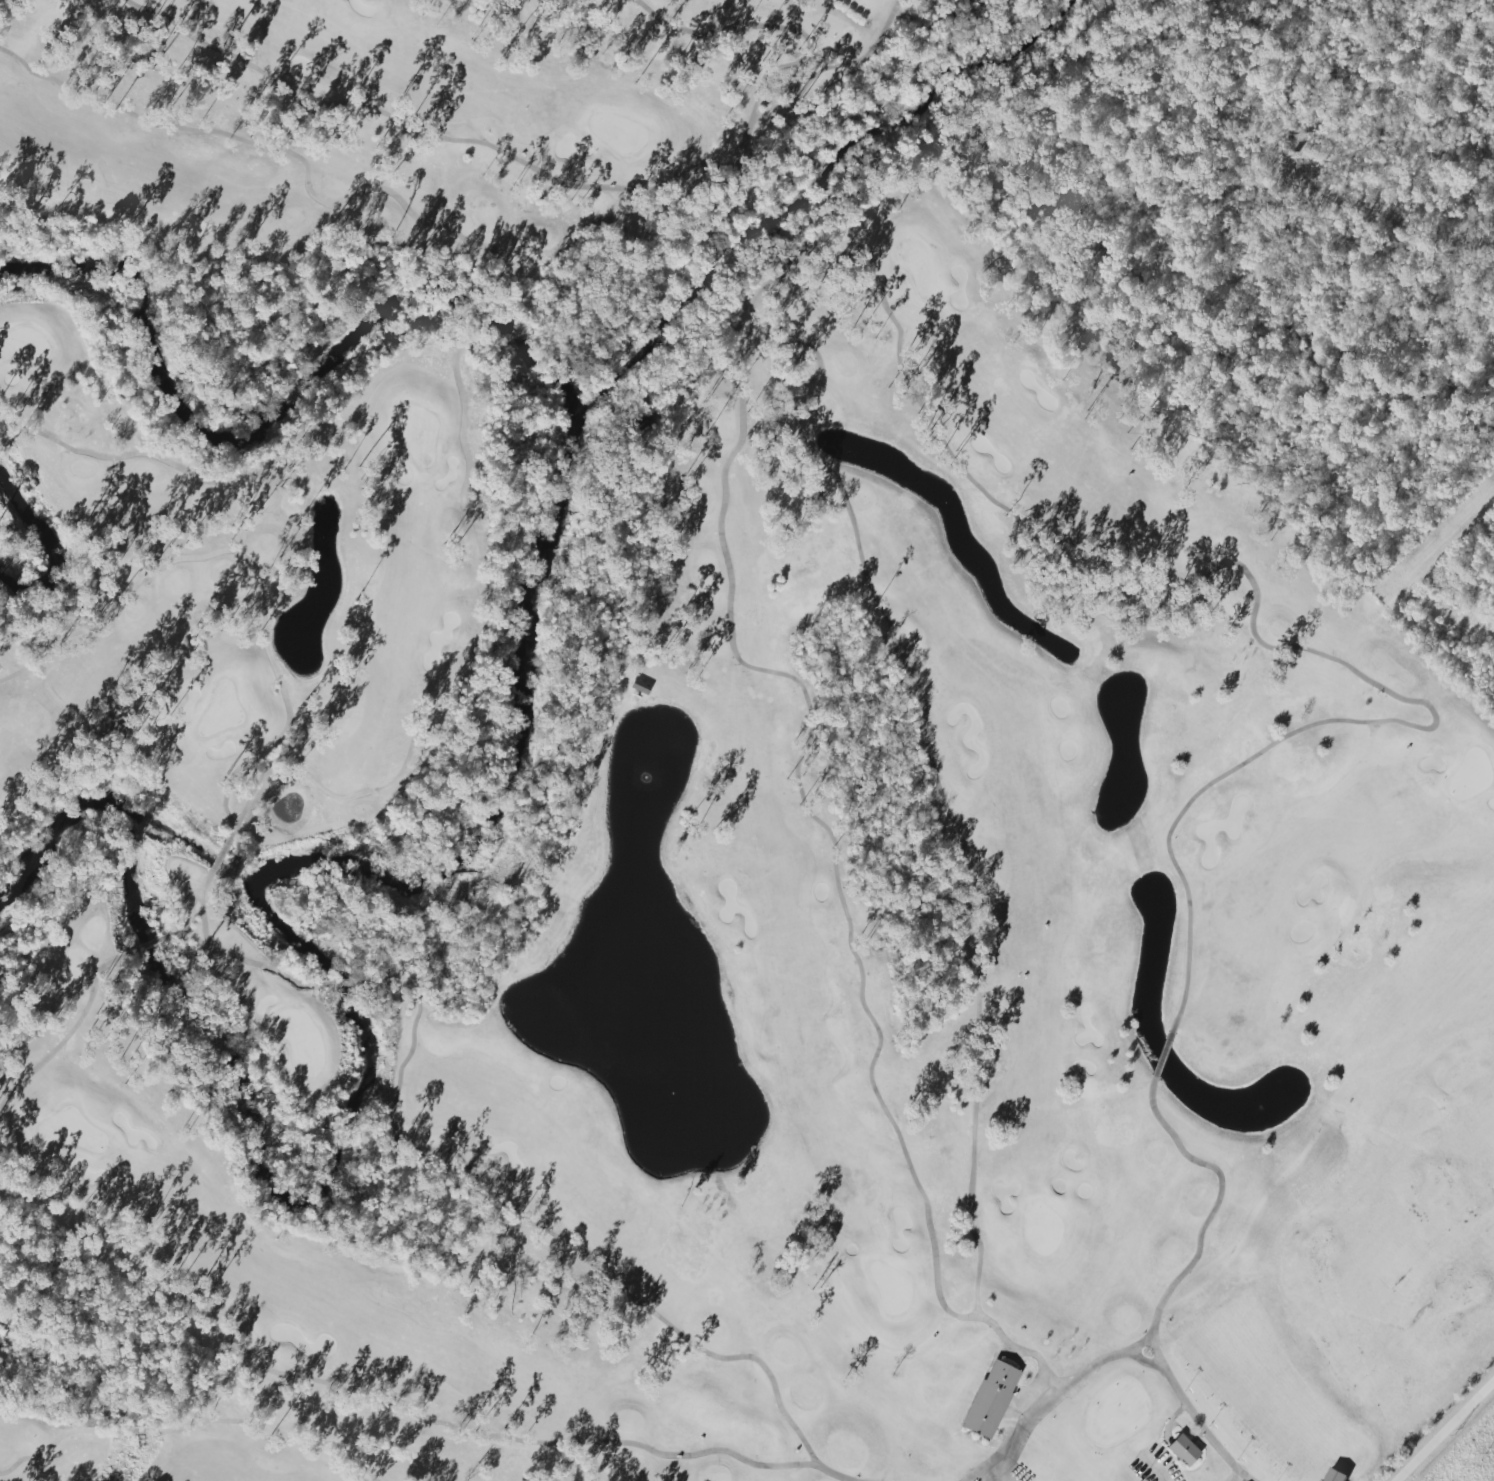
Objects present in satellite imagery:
river: (48, 549)
building: (639, 687)
park: (710, 771)
river: (475, 851)
building: (991, 1399)
road: (1443, 1428)
building: (1185, 1449)
road: (1153, 1466)
building: (1335, 1475)

